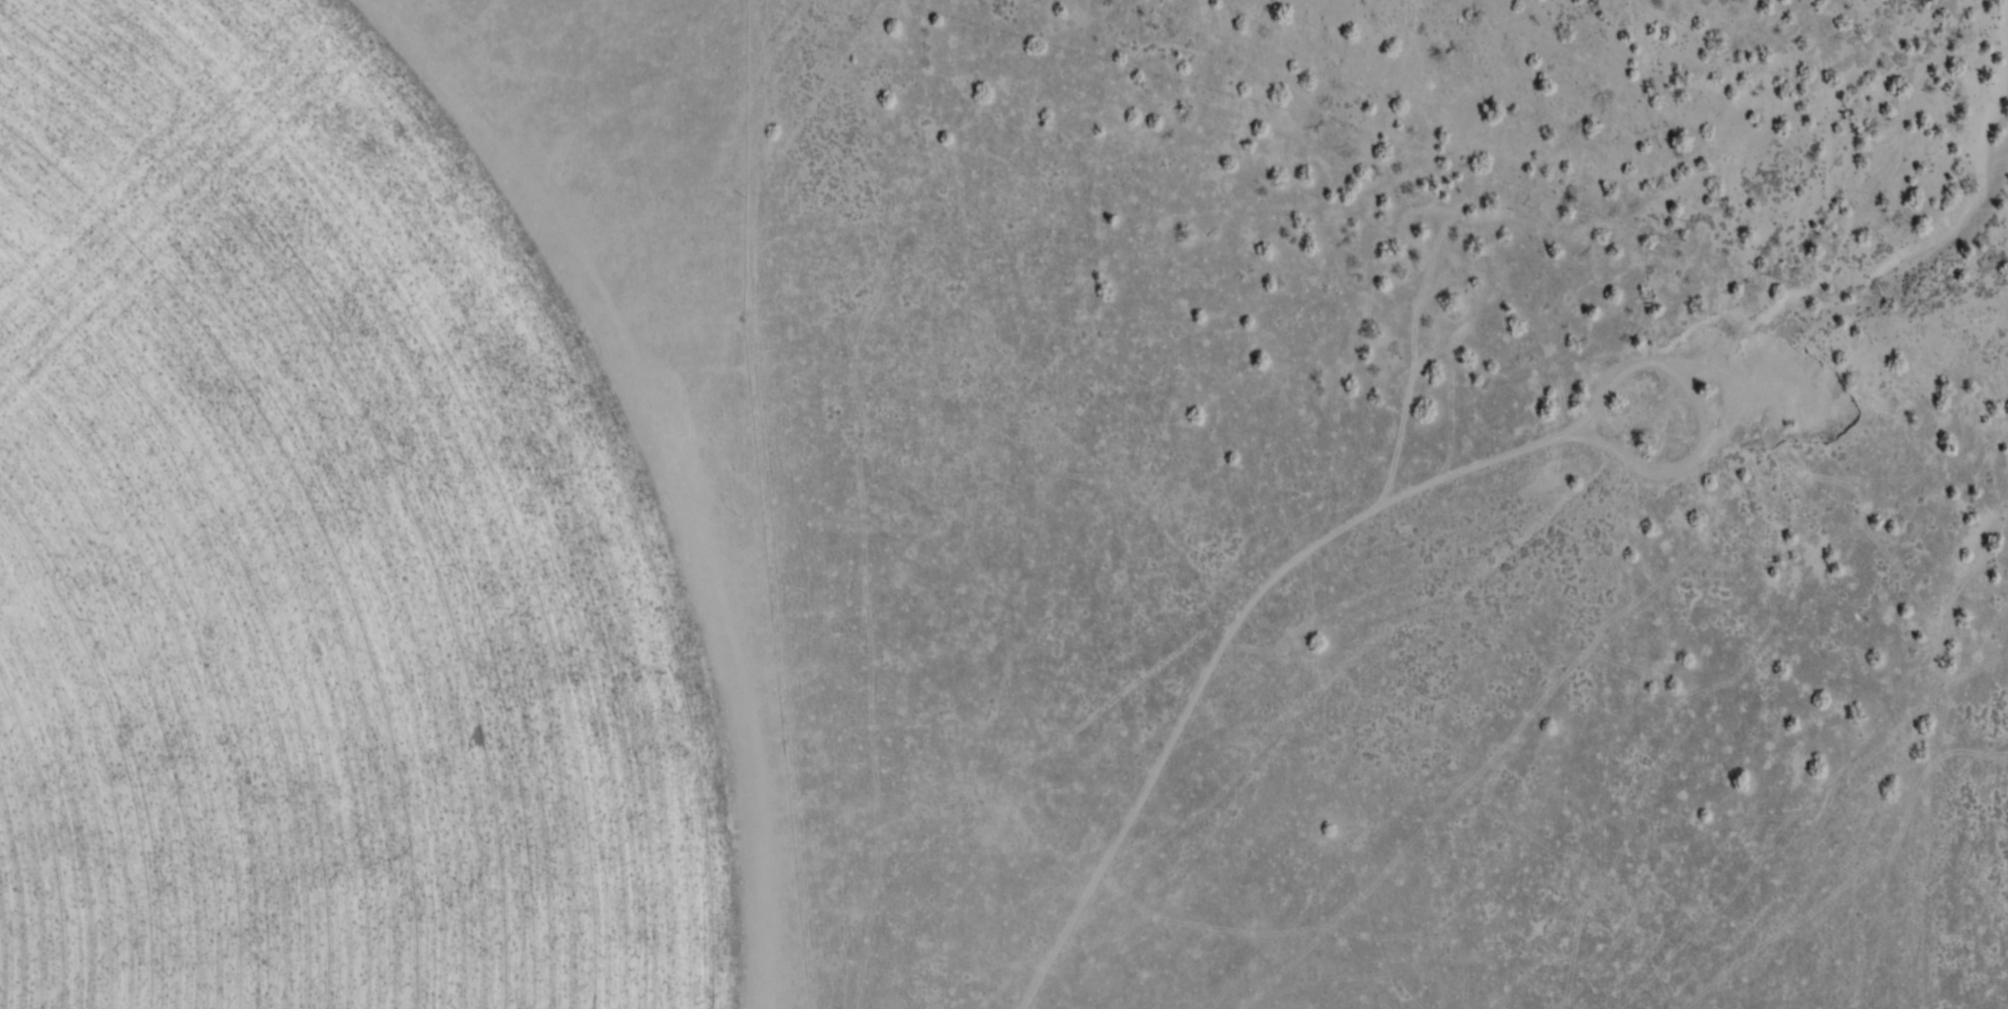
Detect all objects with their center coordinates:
road: (769, 492)
crop: (322, 555)

